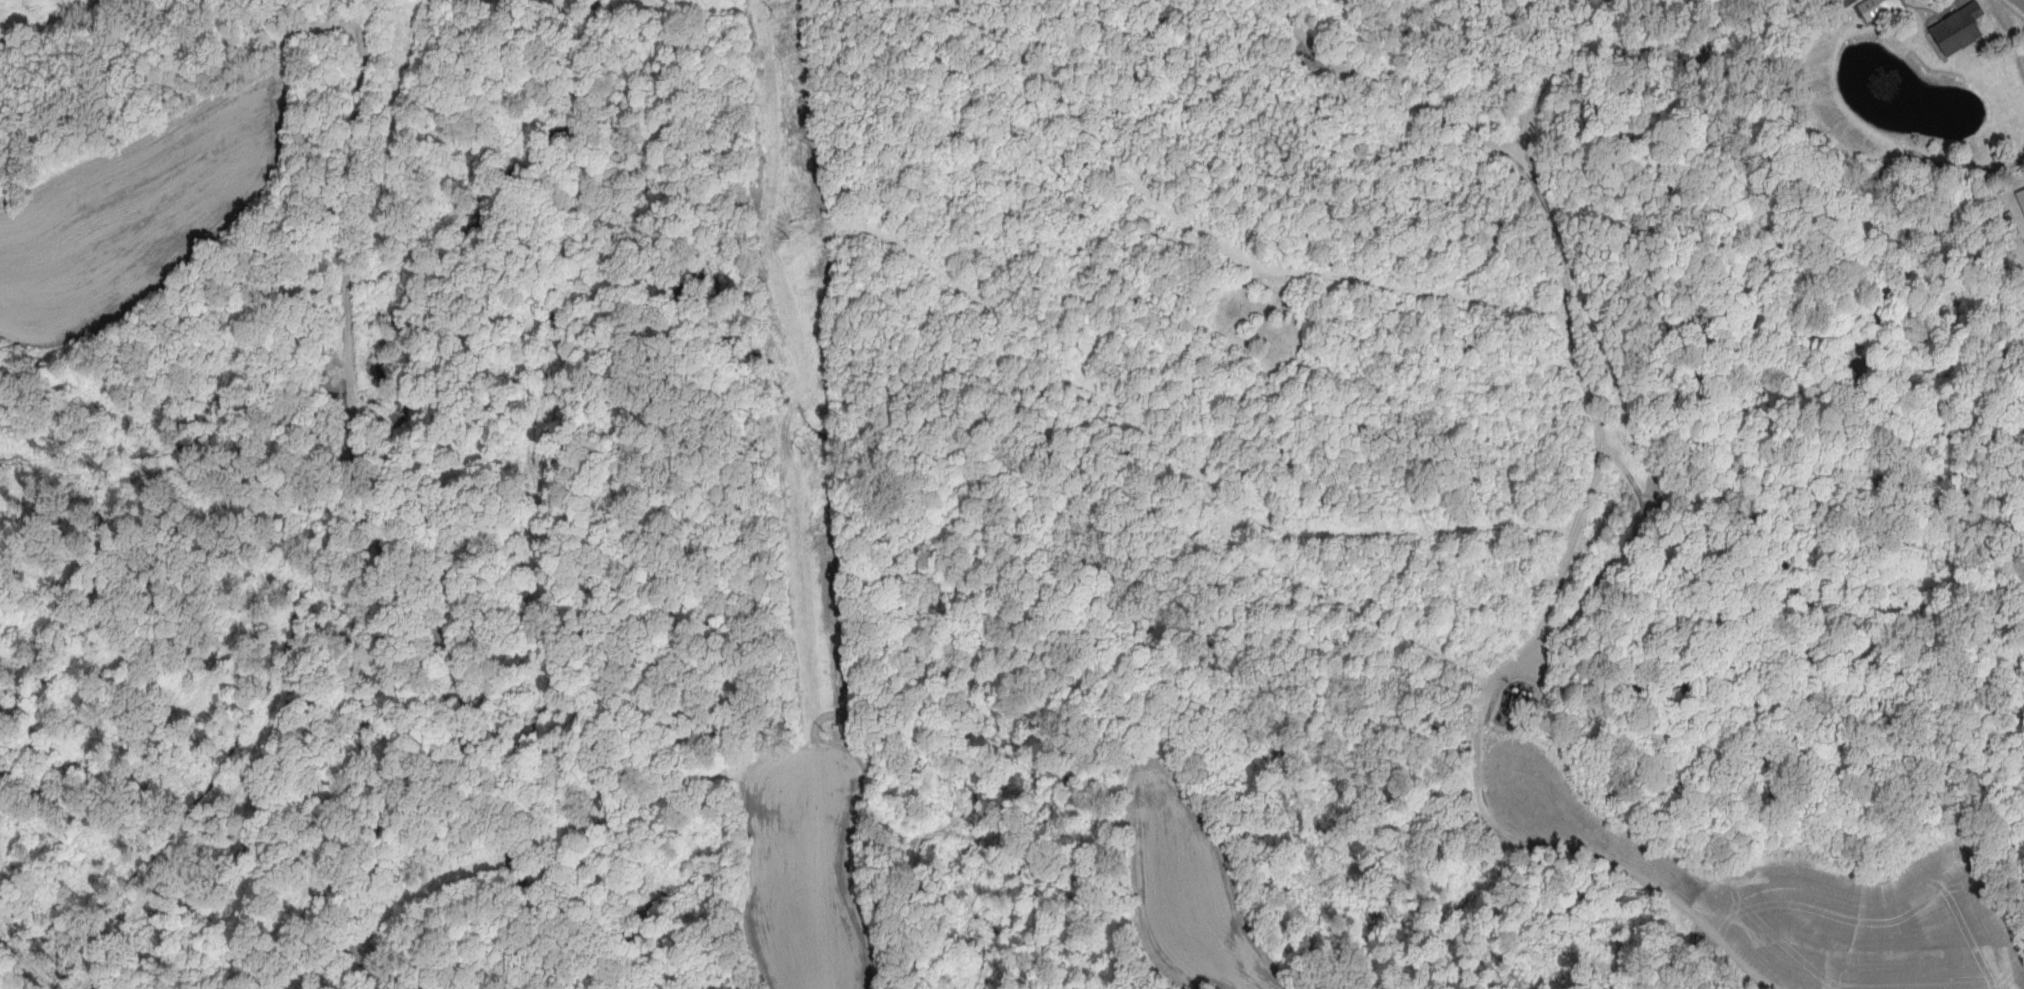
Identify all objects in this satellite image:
road: (2022, 1)
building: (1850, 2)
building: (1878, 7)
building: (1960, 30)
building: (2022, 197)

